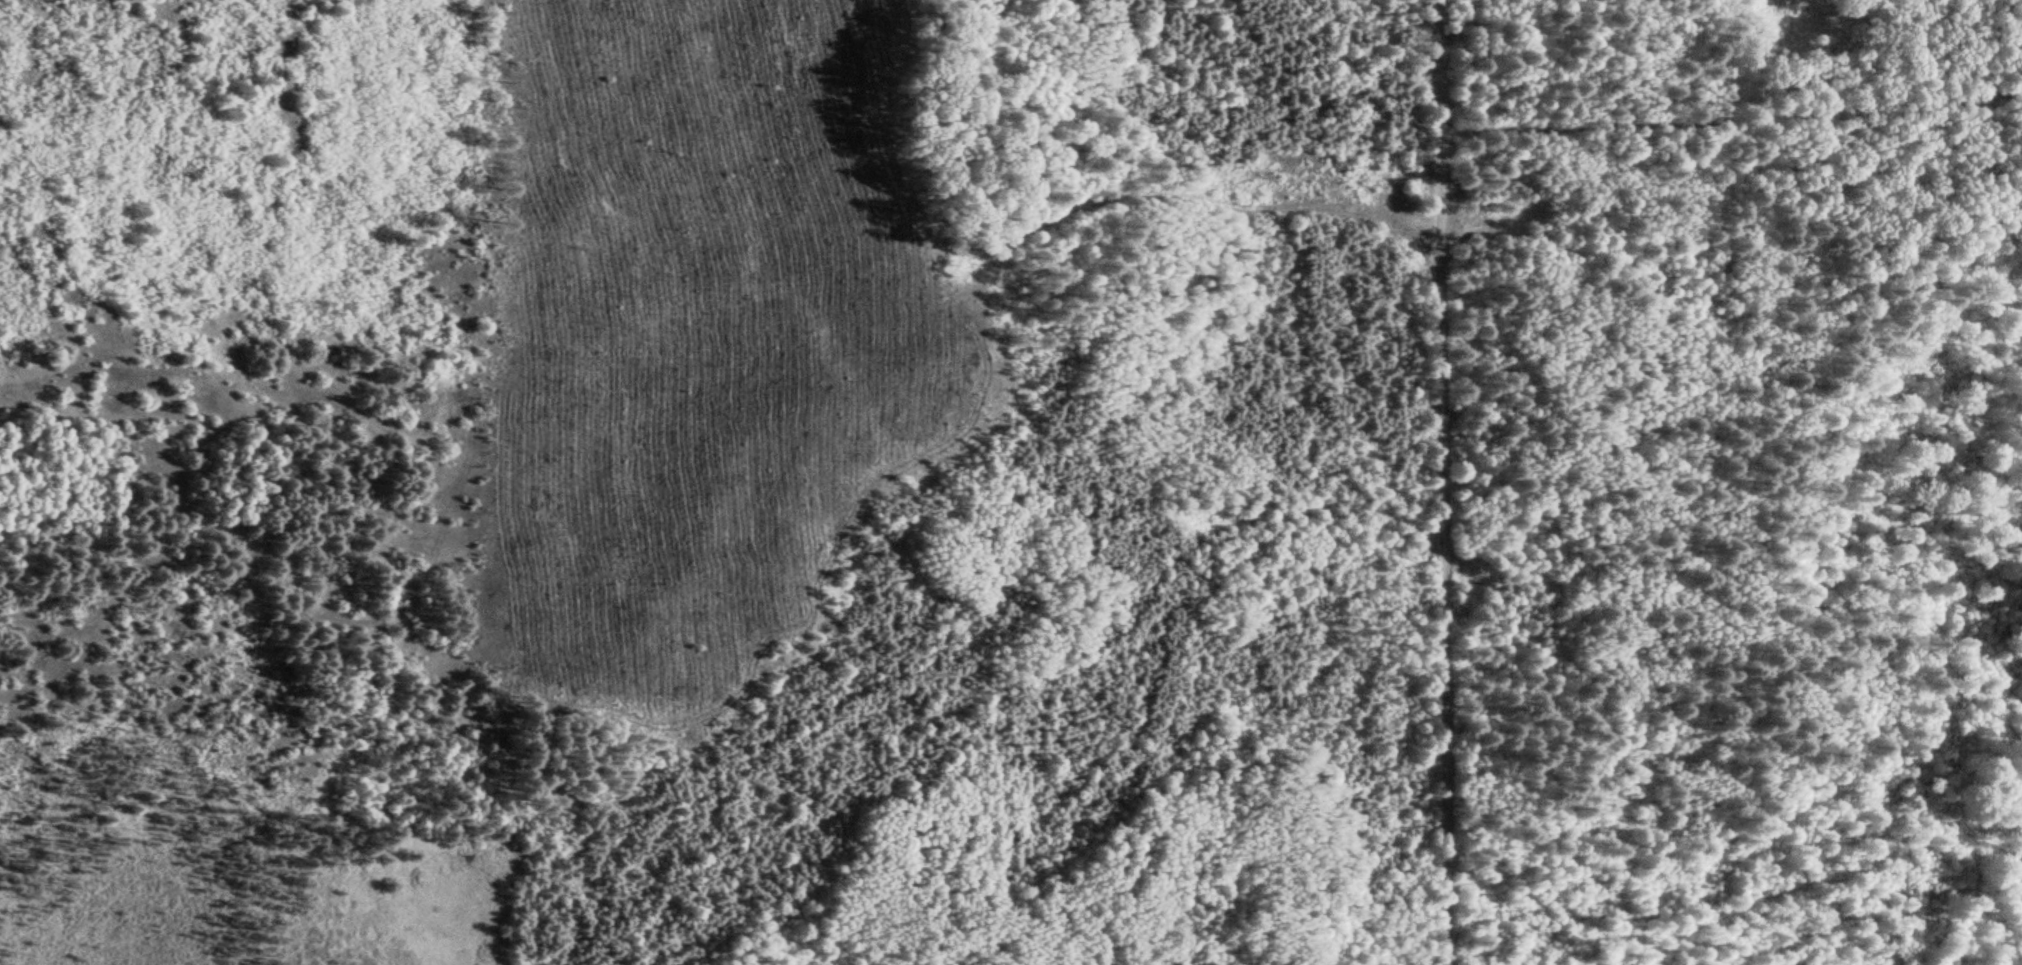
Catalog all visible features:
road: (1733, 126)
road: (1445, 482)

